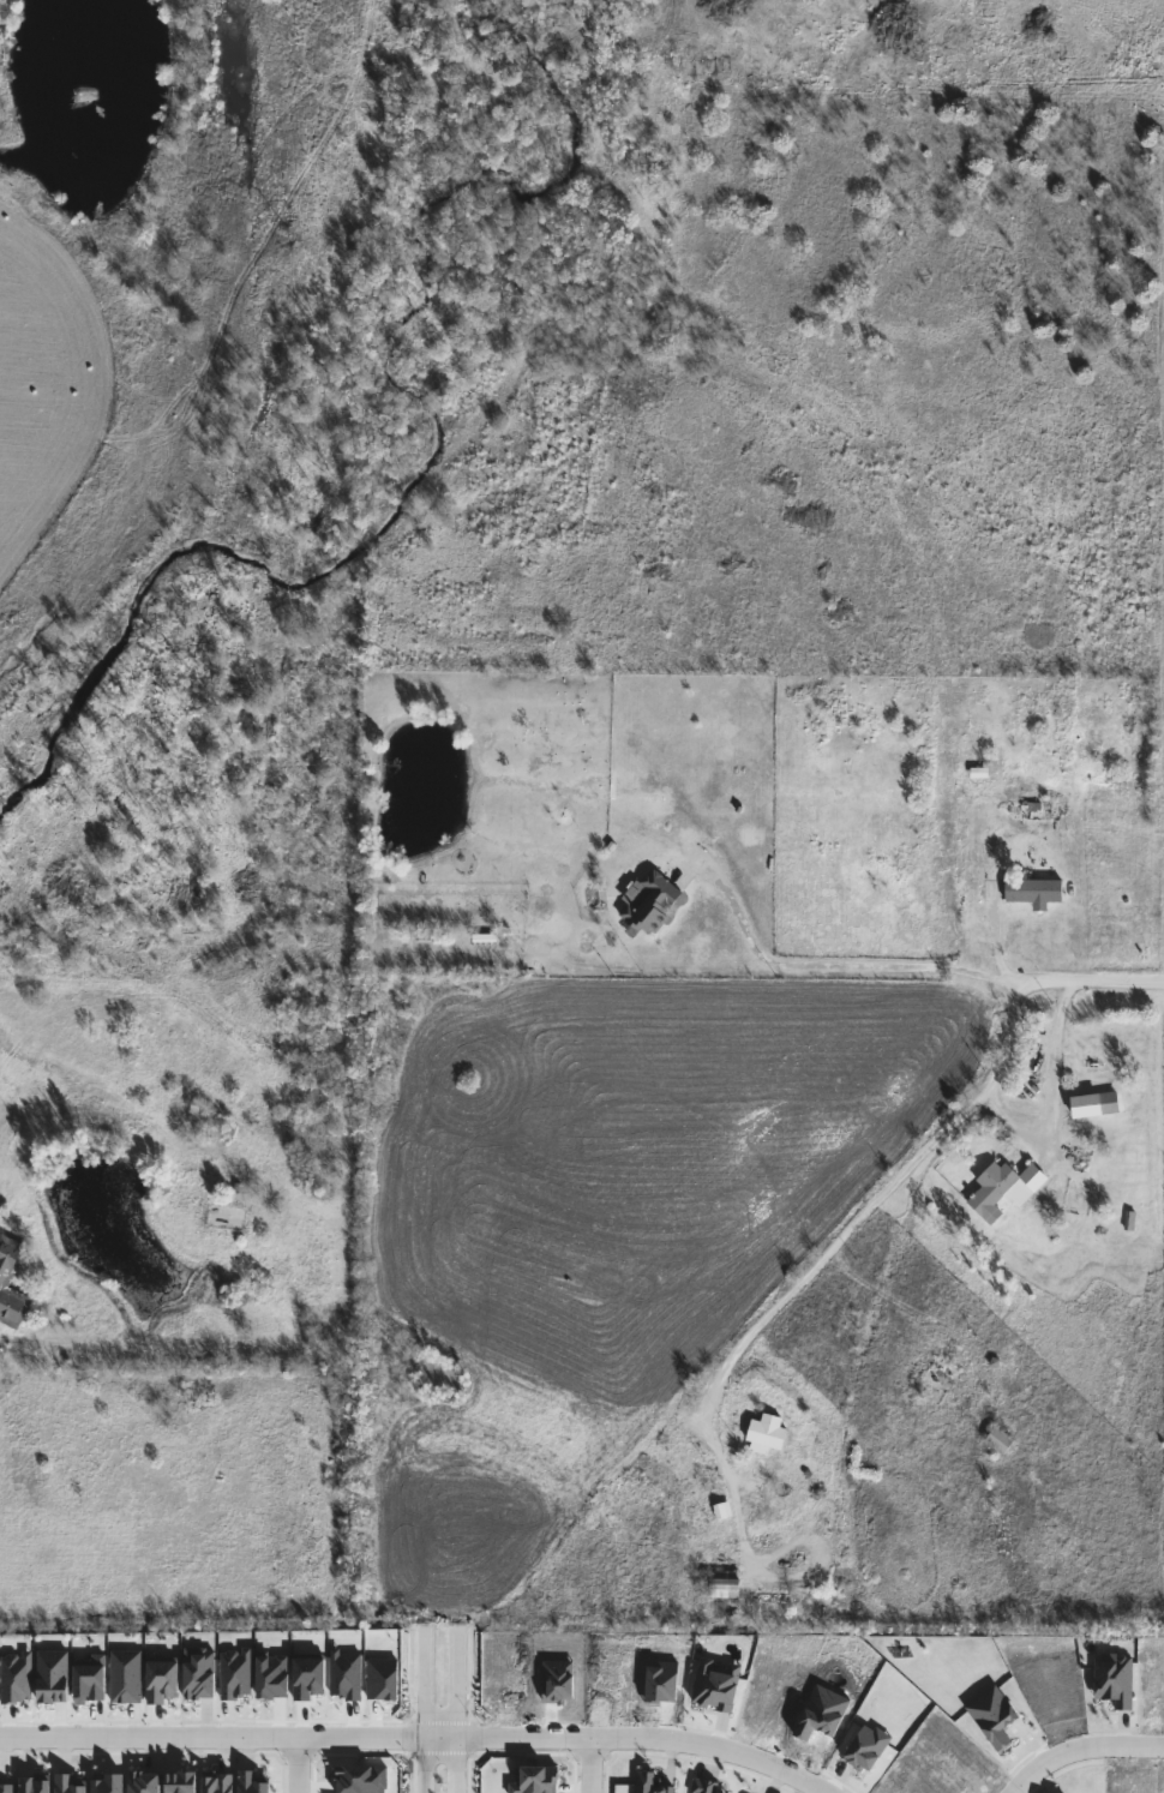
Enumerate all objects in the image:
building: (1033, 893)
building: (652, 904)
road: (1163, 931)
road: (998, 937)
road: (835, 967)
road: (1049, 1091)
building: (1097, 1105)
road: (911, 1162)
building: (1006, 1191)
building: (11, 1283)
building: (767, 1434)
building: (1000, 1441)
building: (754, 1486)
road: (727, 1495)
building: (726, 1577)
road: (456, 1683)
road: (424, 1684)
road: (416, 1738)
road: (1080, 1747)
road: (456, 1764)
road: (298, 1765)
road: (424, 1765)
road: (590, 1765)

